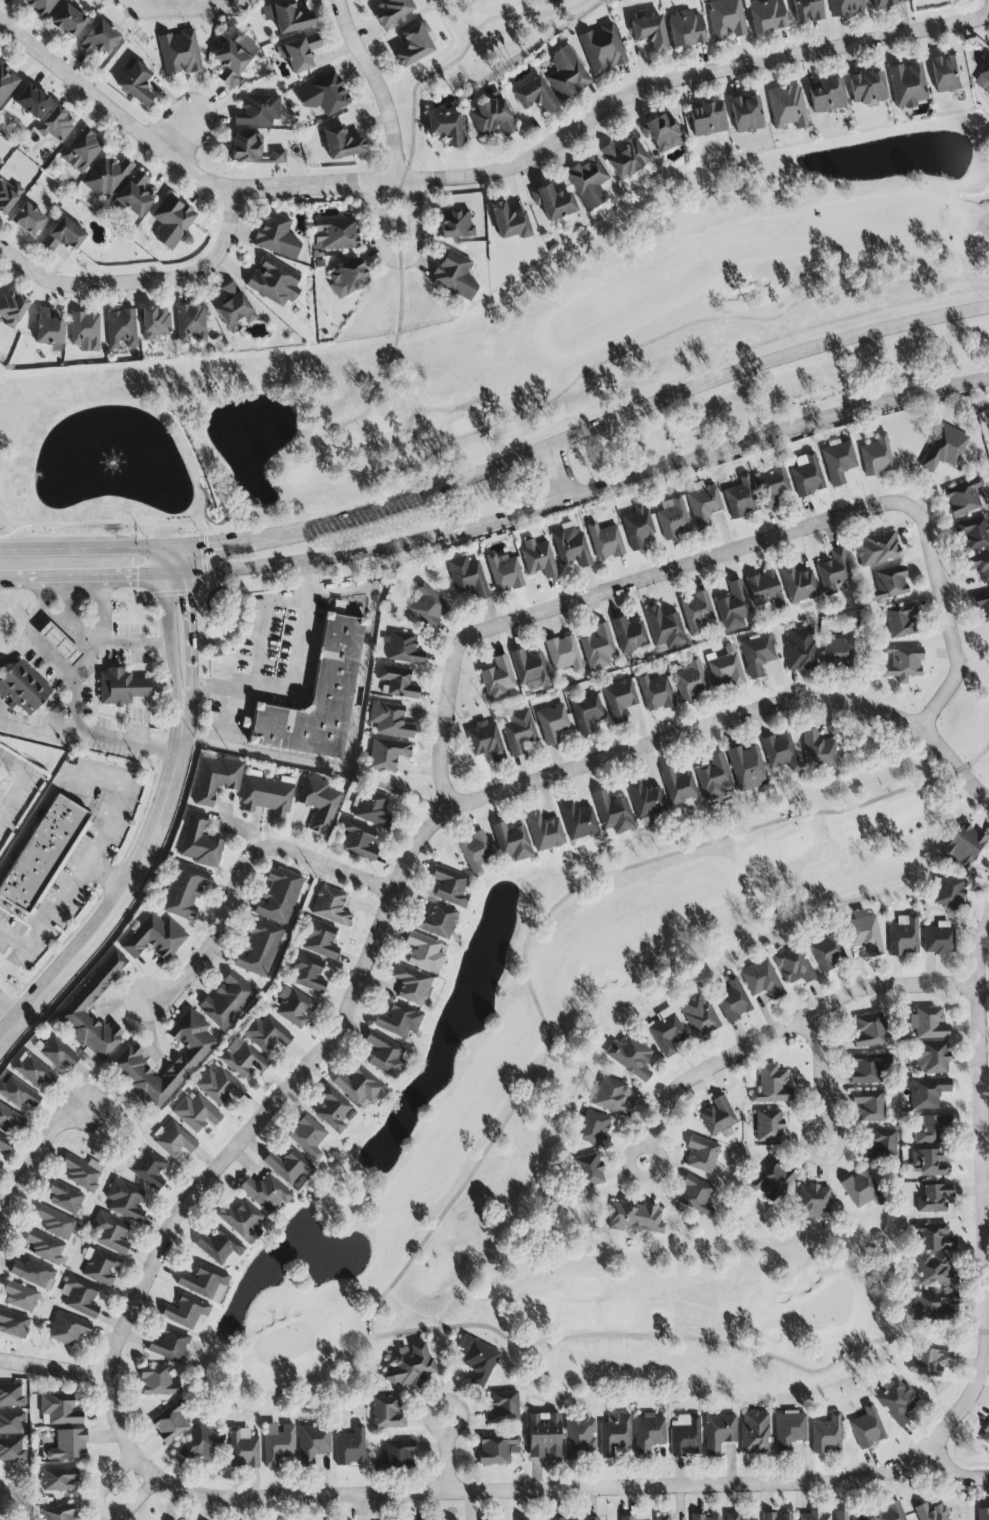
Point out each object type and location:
building: (887, 3)
building: (40, 6)
building: (846, 7)
building: (806, 11)
building: (393, 12)
building: (766, 16)
building: (286, 18)
building: (725, 19)
building: (68, 22)
building: (685, 29)
building: (649, 33)
building: (98, 39)
building: (414, 45)
park: (488, 47)
building: (602, 49)
building: (179, 53)
building: (299, 53)
building: (566, 74)
building: (946, 74)
building: (984, 80)
building: (6, 83)
building: (135, 83)
building: (907, 85)
road: (378, 87)
building: (866, 88)
building: (323, 95)
building: (534, 96)
building: (827, 97)
building: (30, 102)
building: (787, 108)
building: (257, 111)
building: (746, 114)
building: (492, 118)
building: (707, 120)
building: (55, 125)
road: (182, 129)
building: (446, 129)
building: (660, 132)
building: (341, 144)
building: (245, 149)
building: (81, 151)
building: (277, 157)
building: (624, 159)
road: (482, 175)
building: (107, 177)
building: (588, 183)
building: (134, 195)
building: (7, 196)
building: (553, 203)
building: (27, 220)
building: (171, 222)
building: (508, 222)
building: (455, 225)
building: (335, 234)
building: (62, 236)
building: (276, 237)
road: (401, 262)
building: (454, 276)
building: (347, 279)
road: (141, 281)
building: (274, 283)
park: (626, 307)
building: (11, 309)
building: (234, 310)
building: (190, 321)
building: (154, 323)
building: (48, 328)
building: (120, 330)
building: (84, 332)
road: (634, 418)
building: (944, 449)
building: (876, 456)
building: (837, 461)
fountain: (103, 466)
building: (806, 475)
road: (563, 476)
building: (772, 485)
building: (963, 498)
building: (740, 499)
building: (703, 504)
building: (672, 519)
road: (502, 522)
building: (637, 527)
building: (973, 535)
building: (604, 542)
road: (224, 543)
traffic signals: (208, 546)
building: (570, 546)
road: (81, 549)
building: (876, 550)
building: (538, 559)
building: (978, 566)
road: (688, 569)
building: (834, 571)
building: (504, 573)
traffic signals: (136, 576)
building: (467, 578)
building: (797, 584)
building: (889, 584)
building: (765, 591)
traffic signals: (186, 599)
building: (427, 606)
building: (982, 607)
building: (733, 608)
road: (101, 611)
building: (696, 612)
road: (262, 621)
building: (901, 621)
gas station: (66, 623)
road: (187, 629)
building: (664, 629)
road: (170, 630)
road: (953, 630)
road: (74, 632)
building: (629, 635)
building: (61, 644)
road: (130, 645)
building: (598, 648)
building: (403, 649)
building: (799, 650)
building: (838, 650)
building: (757, 654)
building: (563, 655)
road: (48, 658)
building: (902, 663)
building: (724, 669)
building: (530, 670)
road: (291, 675)
building: (498, 681)
building: (691, 681)
building: (397, 682)
building: (122, 688)
building: (24, 689)
building: (655, 693)
road: (140, 695)
building: (319, 699)
building: (619, 699)
road: (228, 704)
building: (586, 713)
building: (391, 721)
road: (732, 721)
building: (552, 723)
road: (352, 730)
building: (518, 732)
road: (447, 733)
road: (89, 734)
building: (485, 740)
building: (818, 751)
building: (780, 753)
building: (387, 754)
building: (746, 768)
building: (713, 779)
building: (216, 780)
road: (21, 783)
building: (678, 787)
building: (268, 796)
building: (644, 799)
building: (320, 803)
road: (118, 805)
building: (373, 809)
building: (613, 814)
building: (577, 821)
building: (544, 833)
building: (358, 841)
building: (198, 843)
building: (511, 843)
building: (963, 847)
building: (476, 853)
building: (44, 854)
road: (245, 873)
road: (108, 876)
building: (449, 888)
building: (183, 892)
building: (947, 892)
road: (123, 893)
building: (279, 897)
building: (330, 907)
road: (20, 915)
building: (437, 922)
building: (863, 933)
building: (902, 936)
building: (153, 938)
building: (938, 939)
building: (319, 940)
building: (258, 949)
building: (825, 951)
building: (423, 953)
building: (792, 965)
building: (304, 972)
building: (760, 979)
building: (412, 985)
park: (569, 985)
building: (93, 987)
building: (732, 1000)
building: (227, 1001)
building: (293, 1007)
road: (10, 1009)
building: (697, 1014)
building: (397, 1021)
building: (927, 1024)
road: (786, 1029)
building: (868, 1031)
building: (665, 1032)
building: (266, 1034)
building: (56, 1054)
building: (384, 1055)
building: (629, 1058)
building: (931, 1058)
building: (240, 1059)
building: (127, 1065)
building: (867, 1068)
building: (32, 1071)
road: (820, 1079)
building: (357, 1085)
building: (771, 1086)
building: (218, 1087)
building: (926, 1093)
building: (18, 1094)
building: (611, 1097)
building: (868, 1106)
building: (333, 1110)
building: (195, 1113)
building: (716, 1116)
building: (10, 1120)
building: (768, 1126)
building: (594, 1129)
building: (932, 1130)
road: (247, 1131)
building: (306, 1136)
building: (173, 1140)
building: (4, 1144)
building: (880, 1145)
building: (700, 1155)
road: (36, 1157)
building: (0, 1162)
building: (929, 1163)
building: (148, 1169)
building: (289, 1169)
building: (589, 1171)
building: (81, 1173)
building: (770, 1181)
building: (860, 1190)
road: (984, 1192)
building: (265, 1194)
building: (694, 1195)
building: (64, 1198)
building: (933, 1199)
building: (124, 1201)
building: (812, 1201)
road: (987, 1208)
building: (634, 1218)
building: (241, 1221)
building: (57, 1224)
building: (109, 1233)
building: (934, 1238)
building: (44, 1248)
building: (220, 1249)
building: (99, 1267)
building: (932, 1271)
building: (32, 1274)
building: (203, 1283)
building: (19, 1296)
building: (79, 1297)
building: (932, 1305)
building: (184, 1312)
building: (13, 1325)
building: (66, 1329)
building: (168, 1346)
building: (477, 1360)
building: (929, 1362)
building: (408, 1367)
road: (53, 1371)
building: (157, 1381)
building: (11, 1395)
building: (896, 1402)
building: (502, 1408)
building: (59, 1409)
building: (386, 1413)
building: (170, 1422)
building: (11, 1423)
building: (866, 1428)
building: (788, 1429)
building: (718, 1433)
building: (754, 1433)
building: (613, 1434)
building: (648, 1434)
building: (825, 1435)
building: (542, 1436)
building: (683, 1436)
building: (985, 1436)
building: (578, 1438)
building: (277, 1443)
building: (201, 1444)
building: (312, 1444)
building: (68, 1445)
building: (350, 1447)
building: (242, 1449)
building: (495, 1449)
building: (397, 1453)
road: (449, 1456)
road: (957, 1471)
building: (57, 1479)
road: (540, 1494)
building: (888, 1512)
building: (931, 1512)
building: (57, 1513)
road: (101, 1513)
building: (983, 1514)
building: (813, 1516)
building: (846, 1516)
building: (661, 1517)
building: (733, 1517)
building: (776, 1517)
building: (625, 1518)
building: (705, 1518)
building: (592, 1519)

